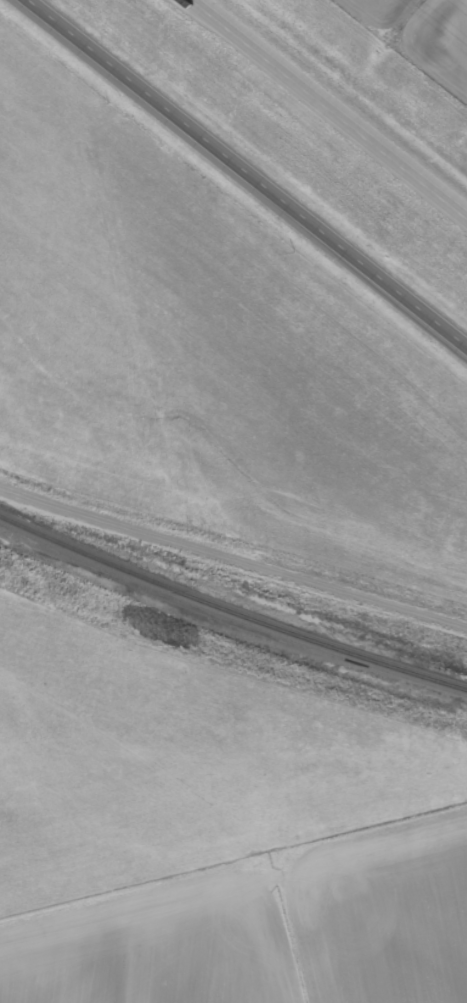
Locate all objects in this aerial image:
road: (329, 108)
road: (246, 175)
road: (233, 557)
railway: (230, 611)

